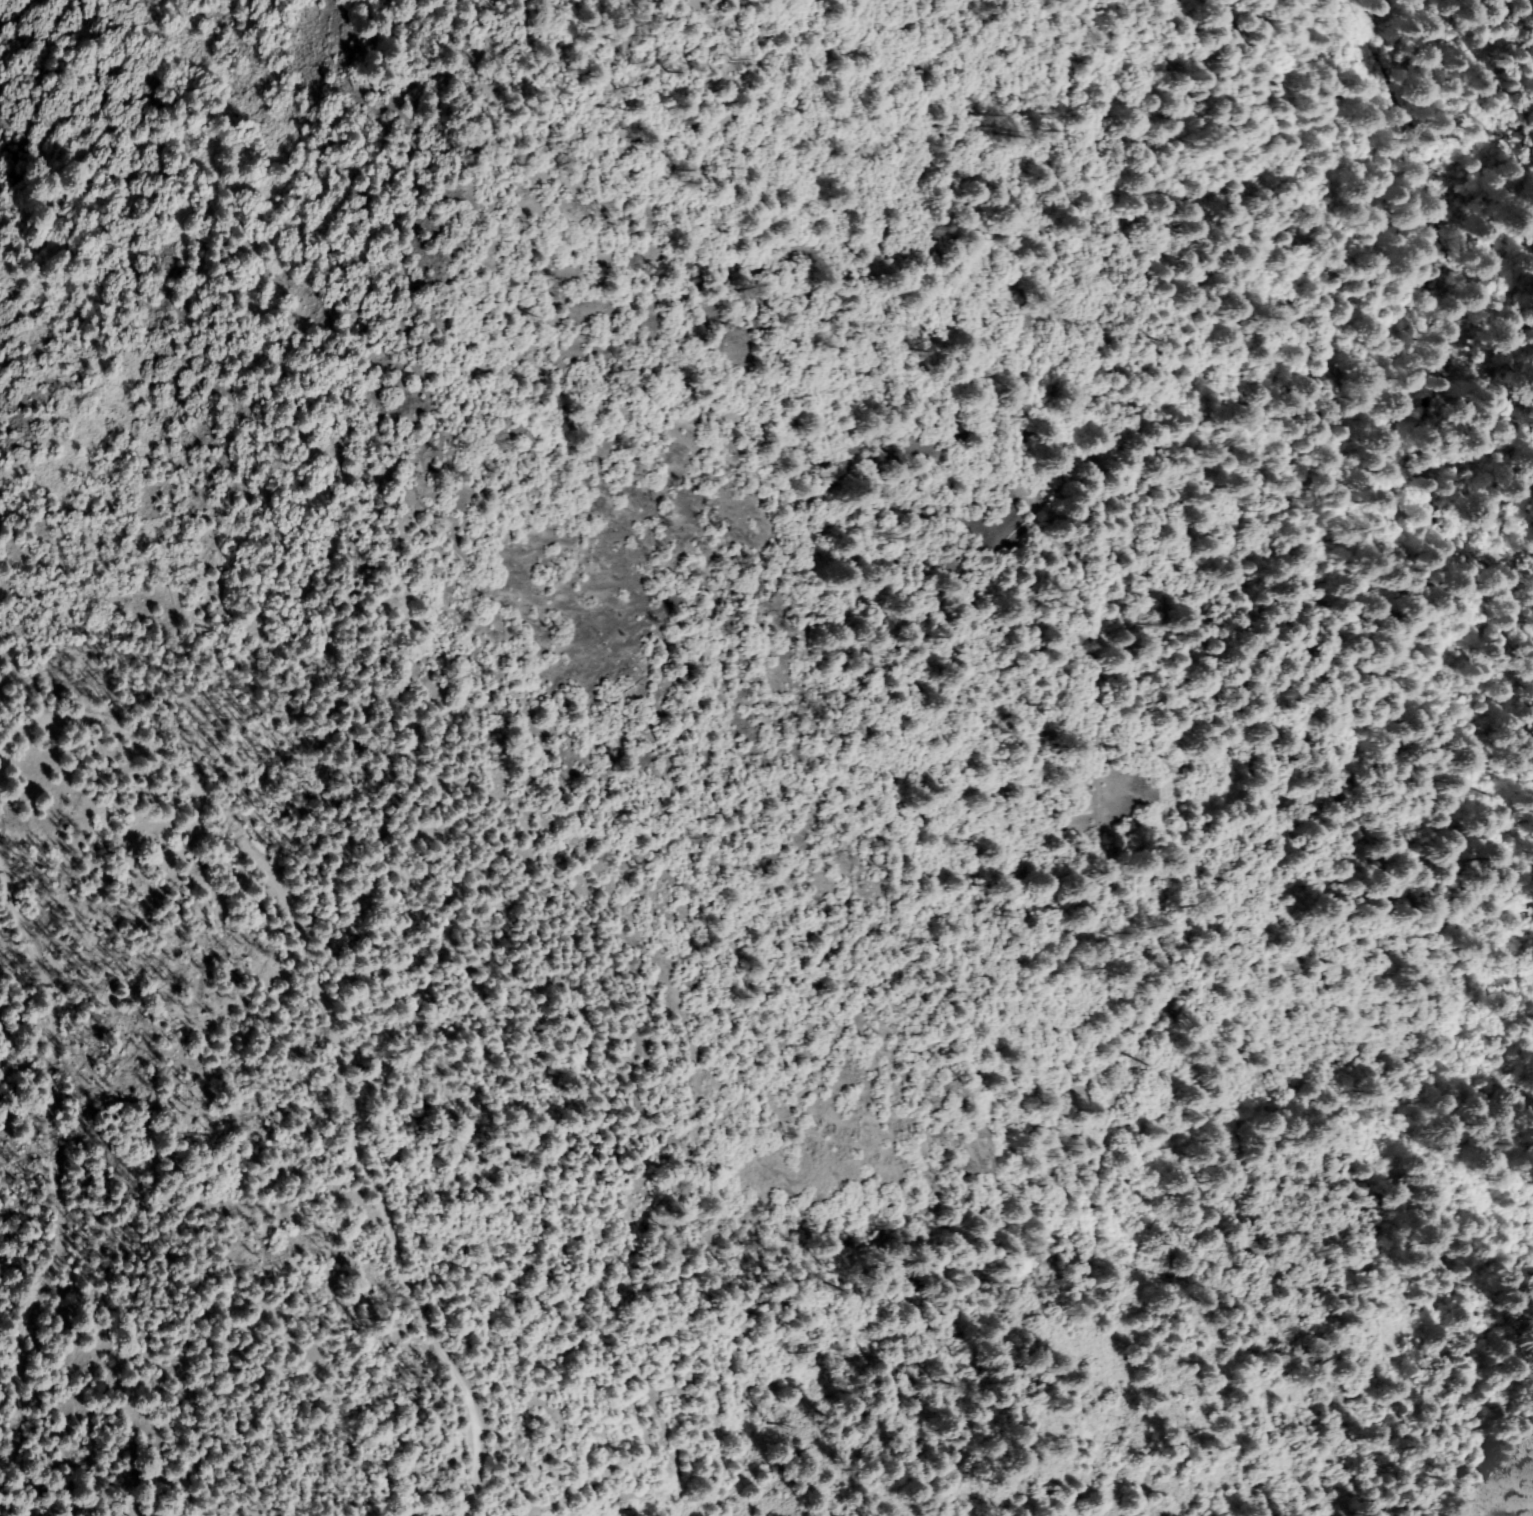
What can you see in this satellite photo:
road: (333, 1029)
road: (58, 1167)

